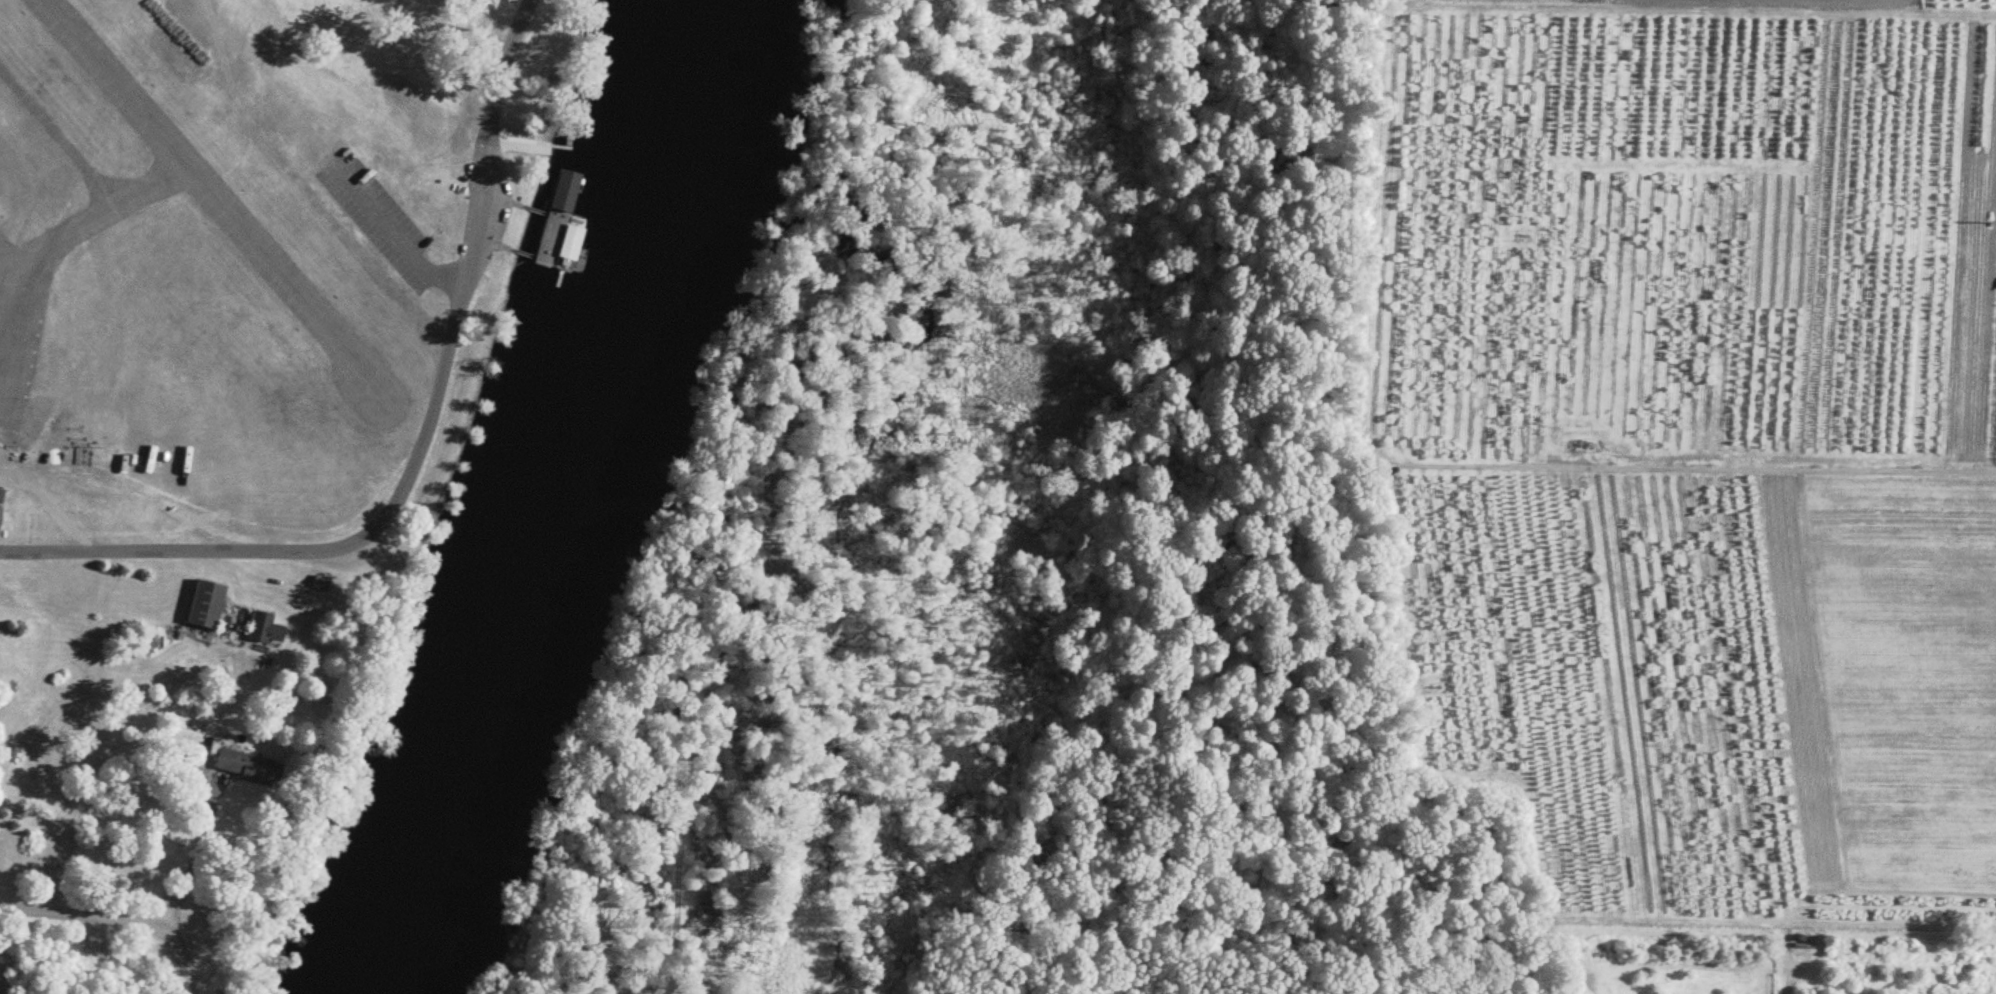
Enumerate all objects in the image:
airport taxiway: (140, 215)
road: (396, 234)
building: (551, 239)
airport apron: (22, 317)
airport runway: (384, 429)
crop: (1696, 442)
road: (419, 456)
road: (1601, 472)
building: (1, 496)
river: (546, 499)
road: (52, 503)
building: (0, 510)
building: (320, 584)
building: (206, 606)
road: (237, 618)
building: (265, 630)
building: (249, 768)
road: (194, 862)
road: (79, 915)
road: (1788, 982)
park: (6, 986)

